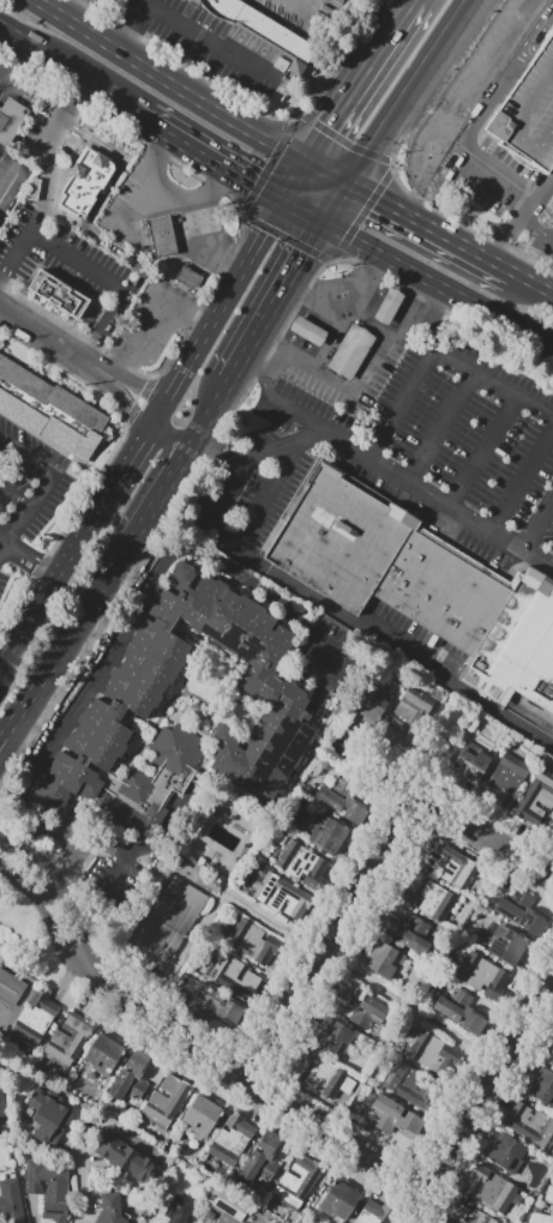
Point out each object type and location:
road: (73, 10)
road: (461, 12)
road: (187, 26)
building: (269, 31)
road: (186, 65)
road: (74, 66)
road: (510, 70)
road: (20, 72)
road: (363, 80)
road: (173, 82)
road: (398, 102)
building: (528, 113)
parking lot: (528, 113)
road: (297, 118)
building: (11, 120)
road: (112, 120)
road: (94, 121)
traffic signals: (332, 128)
road: (85, 134)
road: (342, 140)
road: (218, 155)
road: (268, 165)
road: (493, 167)
road: (329, 170)
traffic signals: (257, 179)
road: (299, 179)
road: (50, 180)
building: (83, 180)
road: (212, 181)
road: (548, 183)
building: (31, 188)
road: (333, 198)
building: (552, 198)
traffic signals: (379, 199)
road: (515, 205)
road: (95, 206)
road: (303, 206)
road: (139, 207)
road: (240, 212)
road: (361, 215)
road: (455, 217)
road: (417, 221)
road: (515, 223)
road: (536, 227)
road: (536, 229)
building: (158, 236)
road: (285, 237)
road: (524, 245)
road: (204, 247)
traffic signals: (301, 252)
road: (224, 255)
road: (337, 259)
road: (427, 275)
building: (186, 277)
gas station: (186, 277)
road: (522, 278)
road: (112, 283)
building: (61, 295)
road: (274, 296)
road: (224, 297)
road: (336, 306)
road: (347, 309)
building: (386, 309)
road: (199, 311)
road: (188, 314)
road: (458, 317)
road: (76, 332)
building: (307, 332)
road: (429, 332)
road: (543, 337)
road: (60, 342)
building: (350, 353)
road: (438, 355)
parking lot: (303, 375)
road: (269, 381)
road: (360, 384)
road: (146, 385)
road: (143, 387)
road: (139, 399)
road: (210, 404)
road: (132, 408)
building: (48, 410)
road: (299, 412)
road: (131, 414)
road: (443, 429)
road: (167, 436)
road: (139, 445)
road: (166, 445)
parking lot: (396, 447)
road: (482, 452)
road: (365, 453)
road: (26, 454)
road: (176, 462)
road: (522, 478)
parking lot: (30, 484)
road: (266, 493)
road: (16, 498)
road: (25, 516)
road: (144, 516)
road: (164, 516)
road: (84, 531)
road: (530, 541)
road: (26, 556)
building: (385, 560)
parking lot: (5, 579)
road: (44, 592)
road: (138, 598)
road: (344, 614)
road: (17, 637)
road: (64, 640)
building: (518, 645)
building: (441, 664)
building: (269, 688)
building: (371, 701)
building: (409, 721)
road: (7, 741)
building: (469, 765)
road: (375, 770)
building: (505, 778)
building: (536, 800)
building: (339, 805)
road: (98, 821)
building: (551, 826)
road: (1, 831)
building: (327, 836)
road: (482, 836)
building: (279, 839)
road: (88, 850)
building: (302, 863)
building: (450, 863)
road: (115, 872)
building: (214, 887)
road: (60, 893)
building: (284, 897)
building: (429, 897)
building: (519, 910)
road: (53, 915)
park: (168, 926)
building: (408, 932)
road: (324, 935)
building: (256, 944)
building: (507, 944)
building: (383, 959)
building: (232, 972)
building: (481, 975)
building: (11, 988)
building: (216, 1002)
building: (361, 1005)
building: (458, 1008)
building: (35, 1019)
building: (332, 1035)
building: (68, 1037)
building: (432, 1050)
building: (102, 1054)
building: (551, 1056)
building: (320, 1076)
building: (130, 1077)
building: (411, 1085)
building: (541, 1086)
road: (489, 1089)
road: (256, 1090)
building: (164, 1102)
building: (1, 1107)
building: (202, 1114)
building: (47, 1115)
building: (395, 1116)
building: (529, 1122)
building: (233, 1138)
building: (505, 1152)
building: (126, 1157)
building: (263, 1157)
building: (296, 1181)
road: (83, 1183)
building: (488, 1188)
building: (49, 1189)
building: (549, 1194)
building: (338, 1199)
building: (10, 1201)
building: (229, 1207)
building: (110, 1209)
road: (419, 1209)
building: (179, 1210)
building: (455, 1213)
building: (366, 1217)
building: (542, 1217)
building: (208, 1218)

